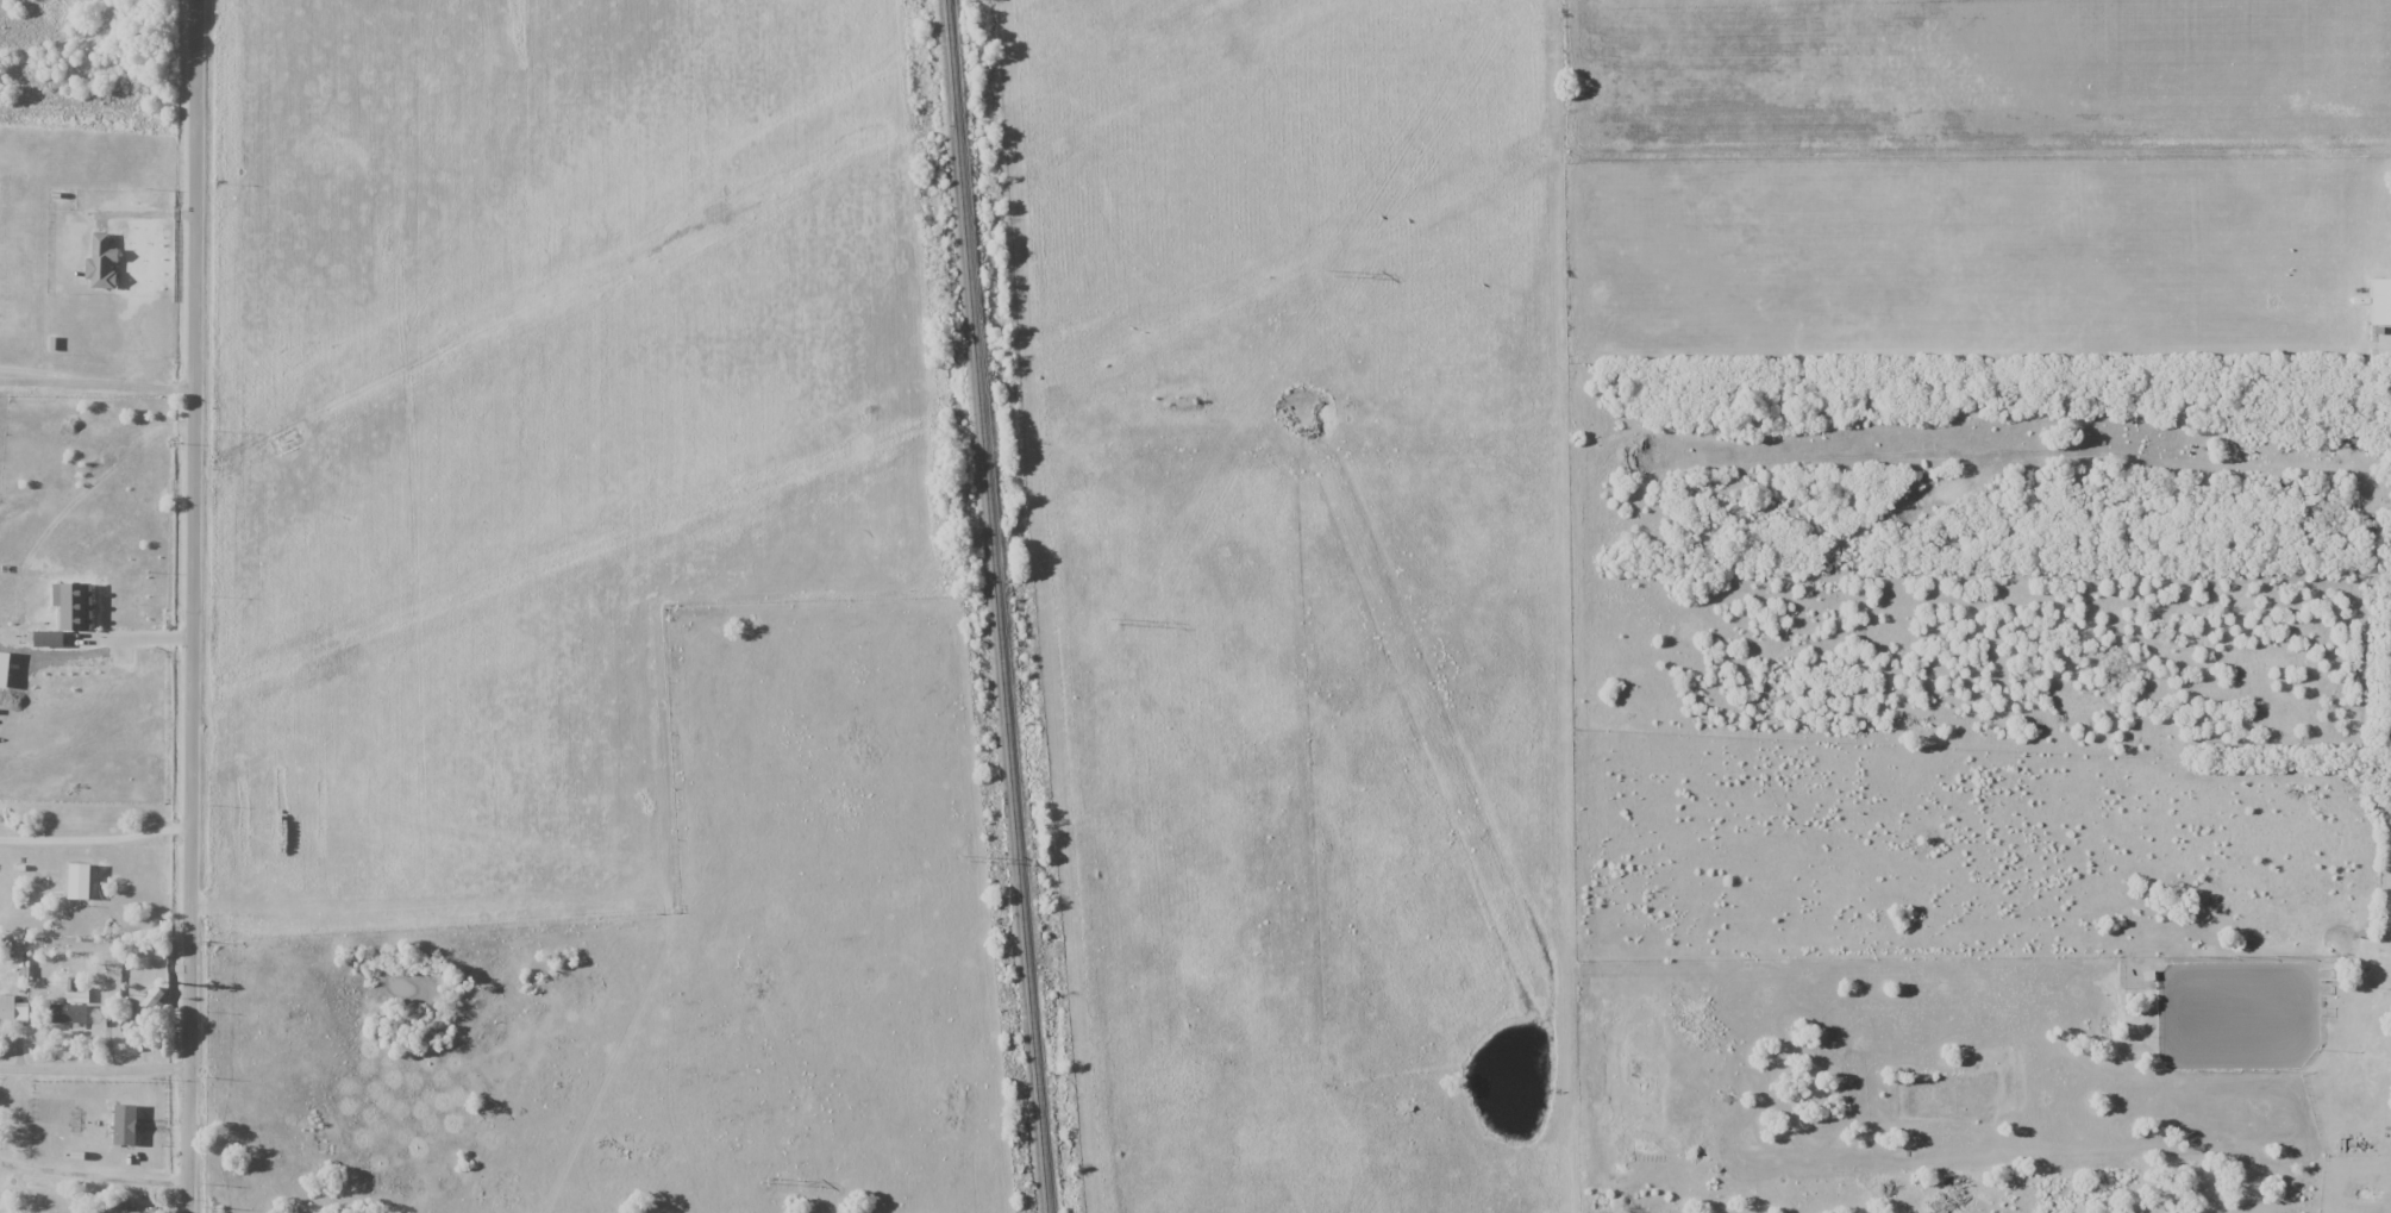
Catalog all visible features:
road: (170, 17)
power tower: (1328, 273)
building: (2380, 301)
road: (100, 382)
road: (196, 606)
railway: (996, 606)
power tower: (1113, 623)
road: (96, 834)
power tower: (964, 858)
building: (7, 1009)
building: (142, 1009)
building: (69, 1012)
road: (95, 1068)
road: (94, 1175)
power tower: (764, 1181)
building: (118, 1207)

